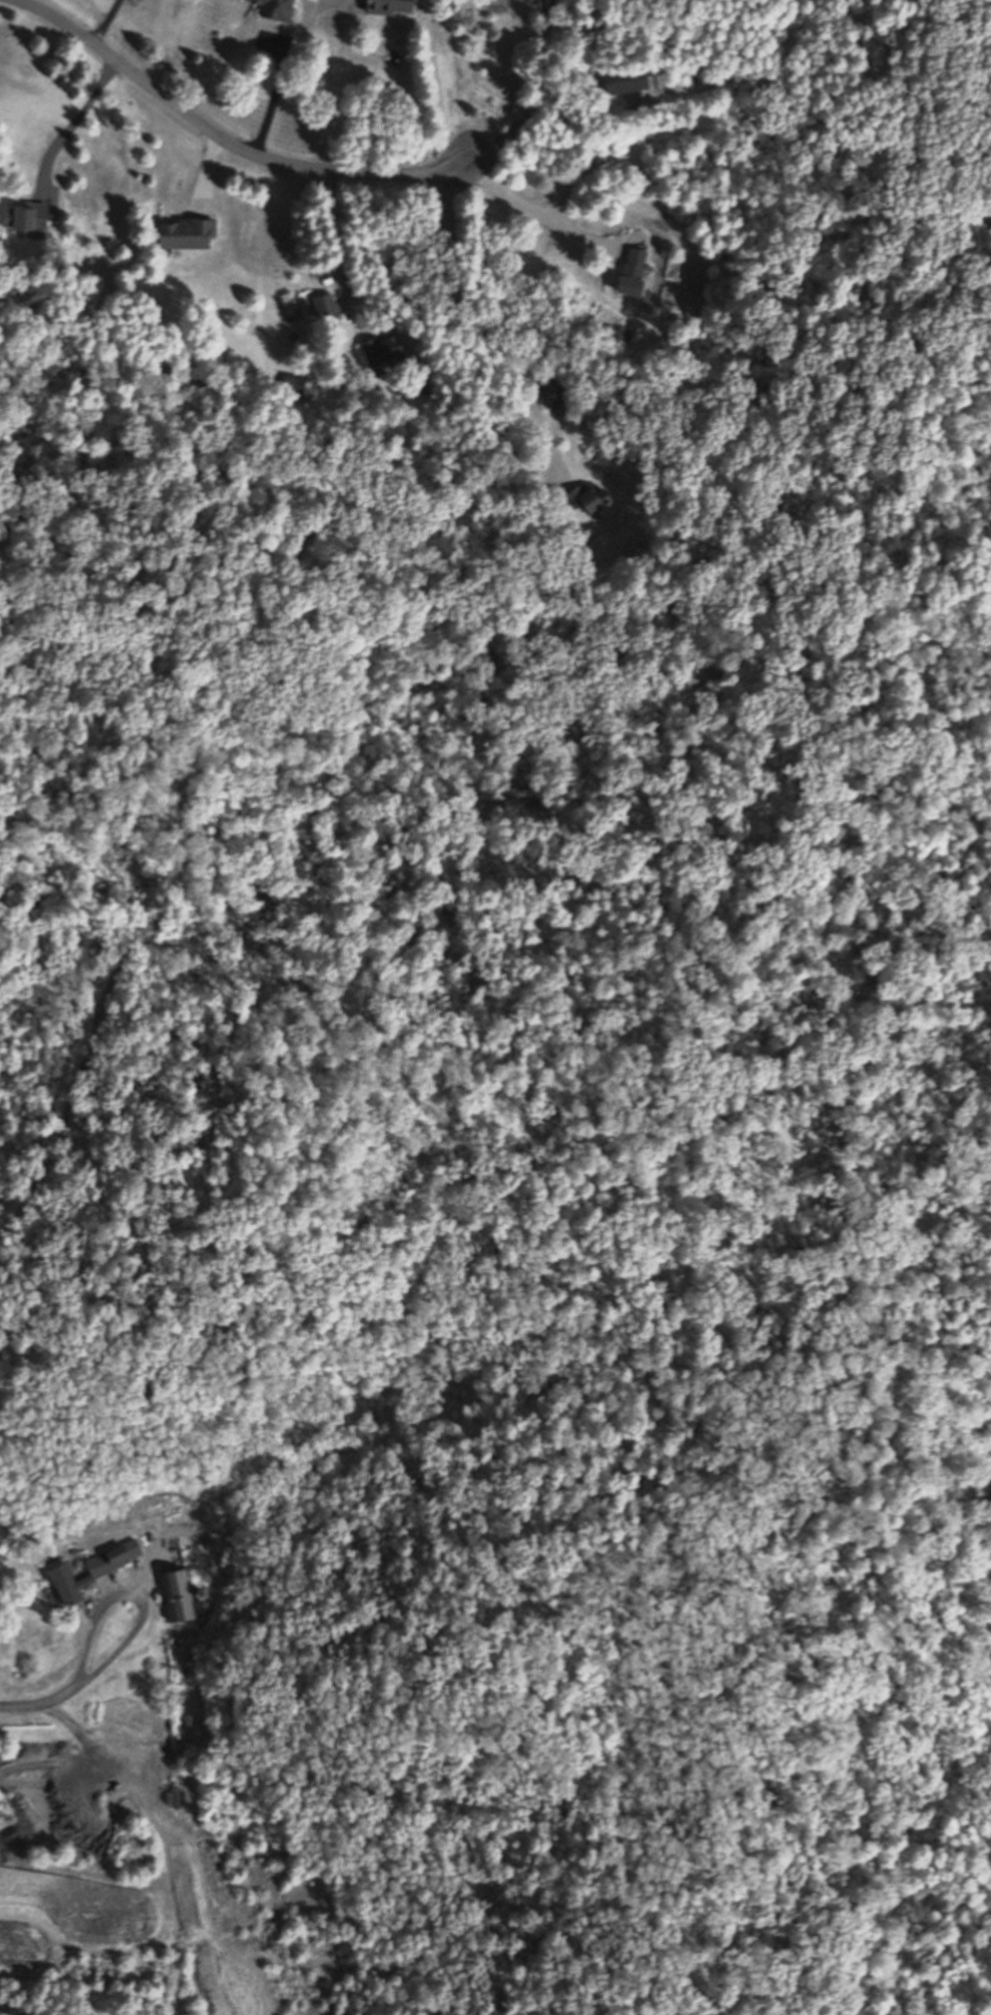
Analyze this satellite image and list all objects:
building: (387, 5)
building: (276, 8)
road: (108, 23)
building: (627, 80)
road: (434, 83)
road: (277, 99)
road: (538, 100)
road: (75, 125)
road: (225, 139)
road: (539, 211)
building: (25, 216)
building: (186, 232)
road: (342, 251)
building: (635, 270)
building: (325, 304)
building: (74, 311)
road: (466, 330)
building: (383, 350)
building: (293, 382)
building: (553, 391)
building: (589, 496)
building: (91, 1568)
building: (175, 1584)
road: (145, 1598)
road: (40, 1704)
building: (80, 1709)

